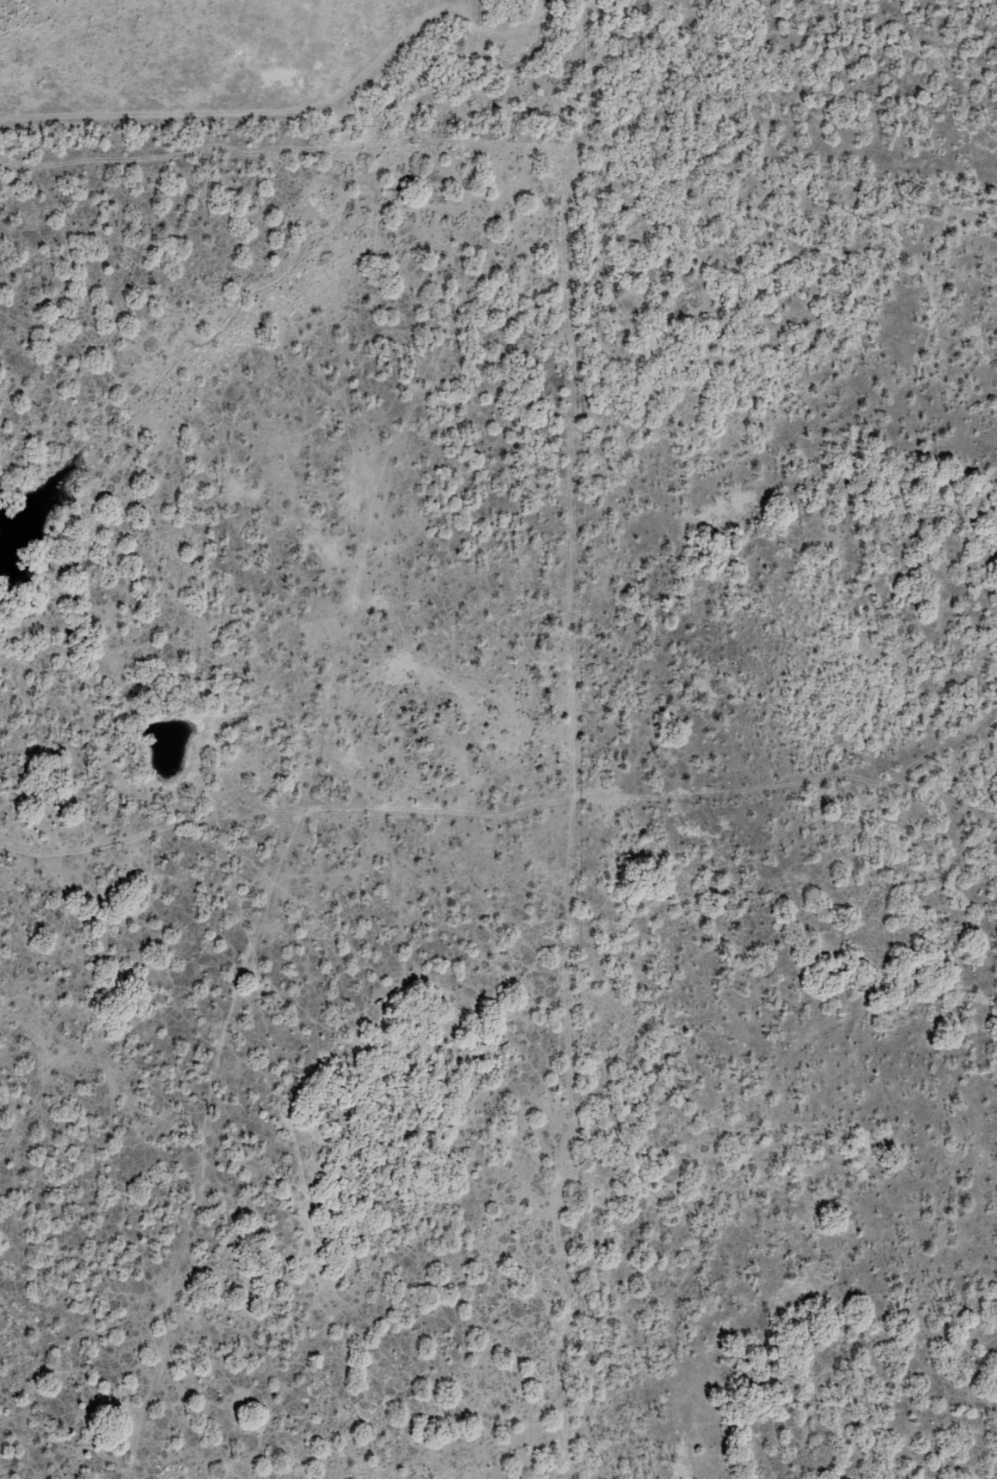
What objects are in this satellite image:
road: (499, 793)

